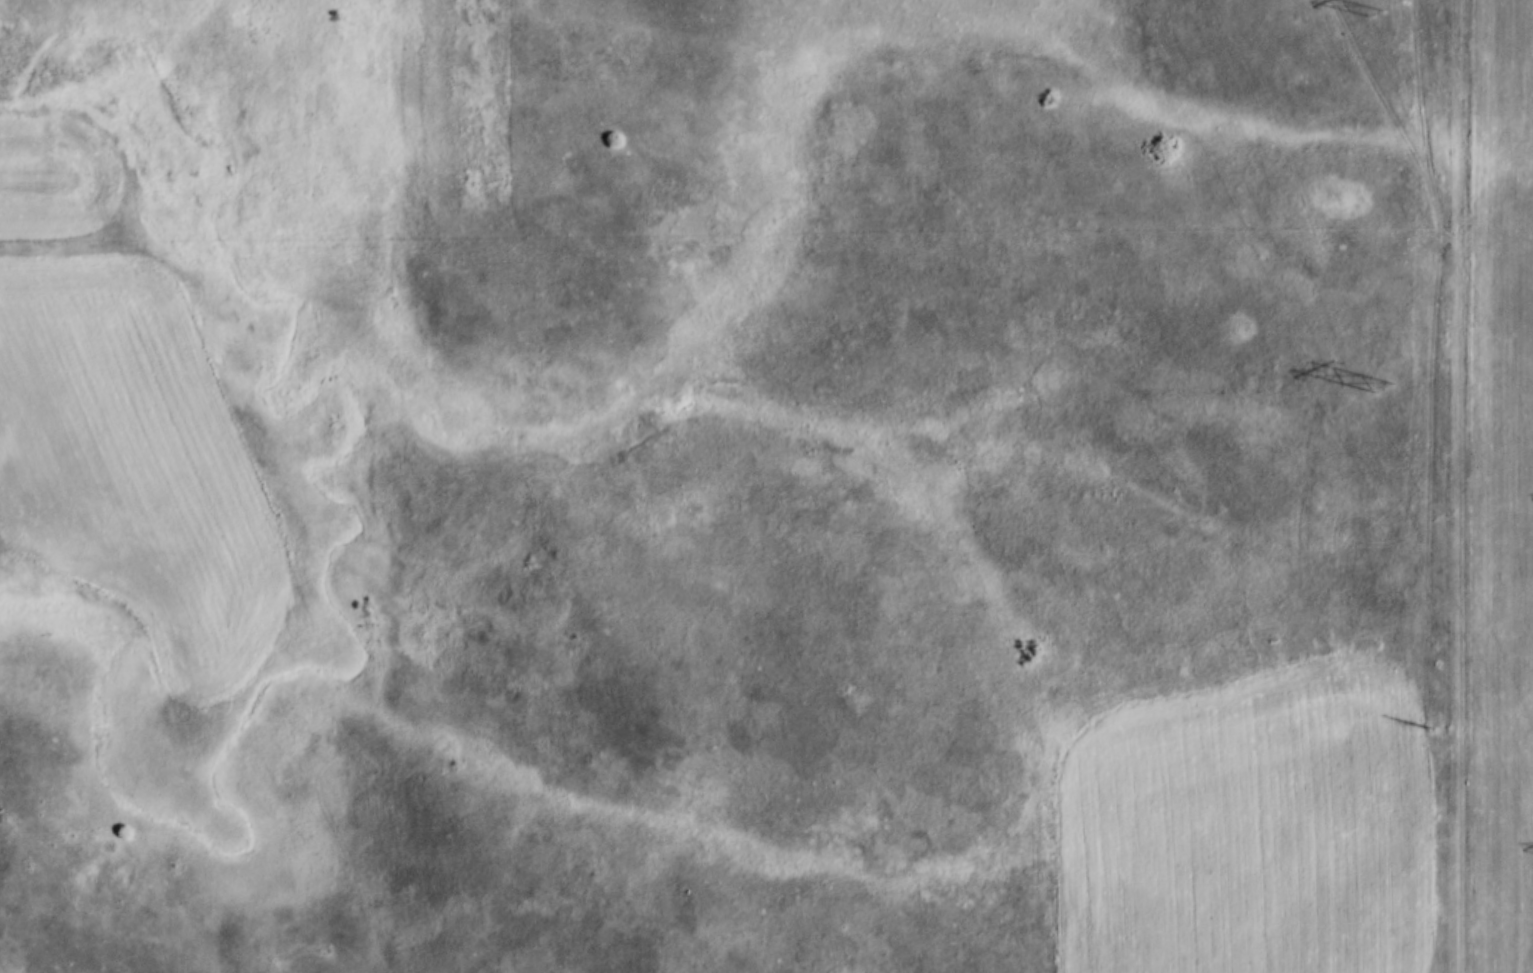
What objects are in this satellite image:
power tower: (1362, 23)
road: (83, 259)

